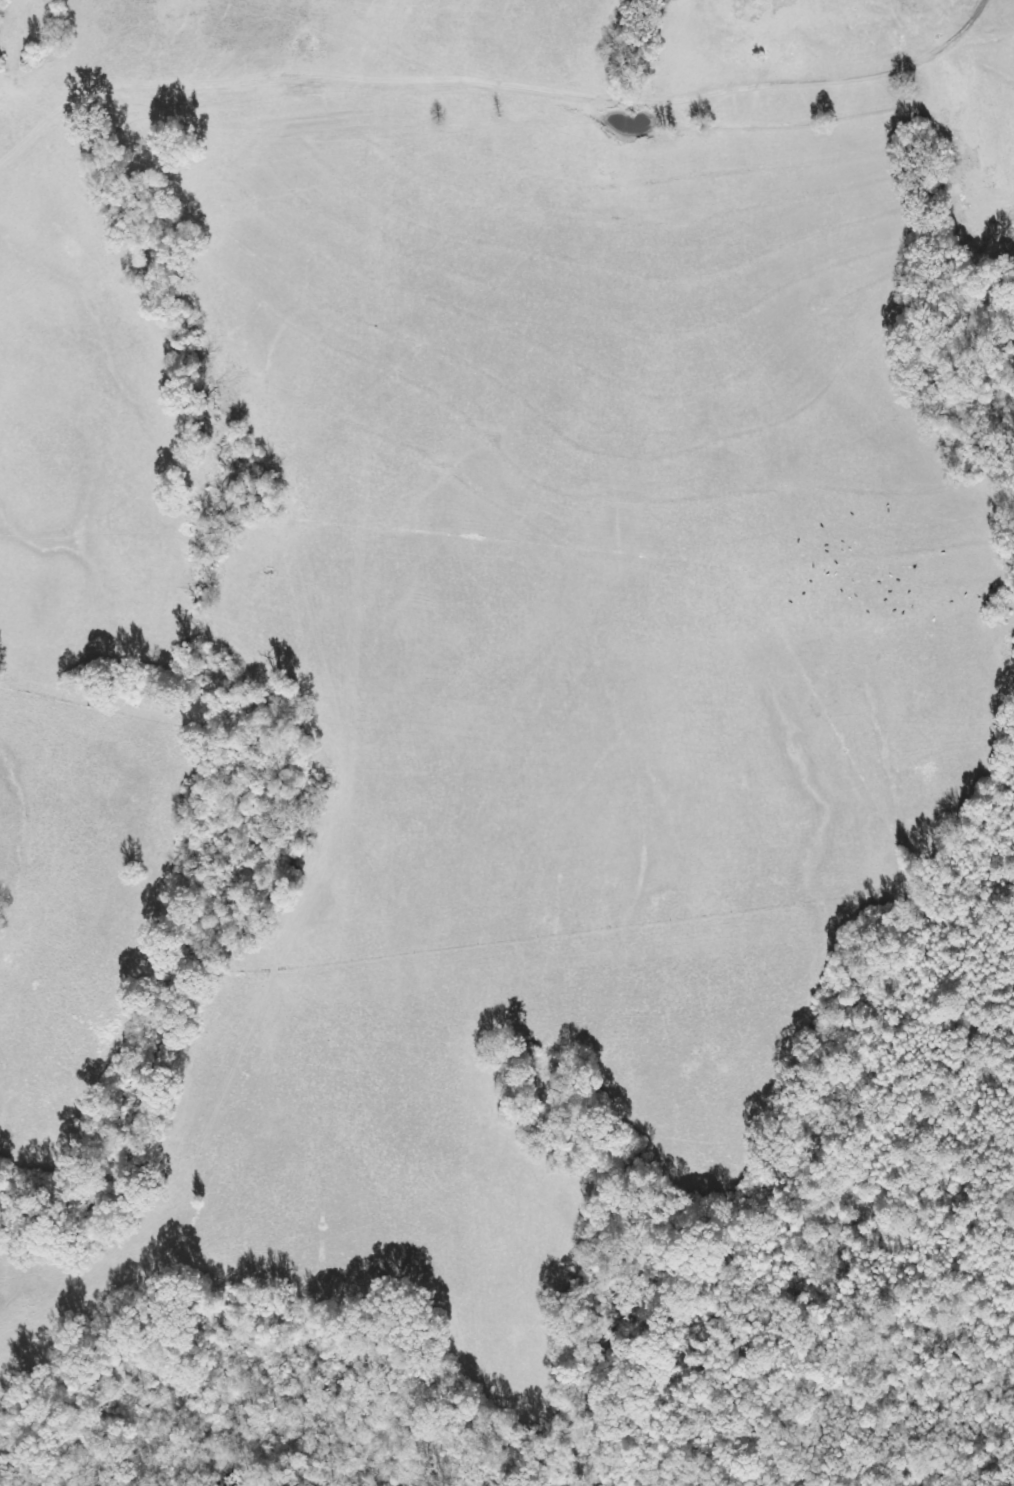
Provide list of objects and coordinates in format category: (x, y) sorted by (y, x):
road: (486, 92)

